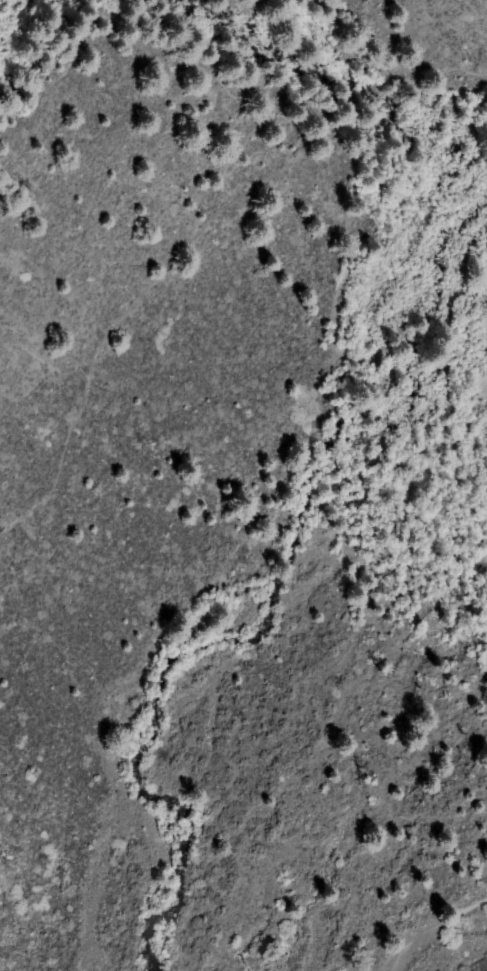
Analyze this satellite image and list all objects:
road: (469, 72)
road: (173, 74)
road: (354, 91)
road: (327, 121)
road: (123, 313)
road: (431, 928)

